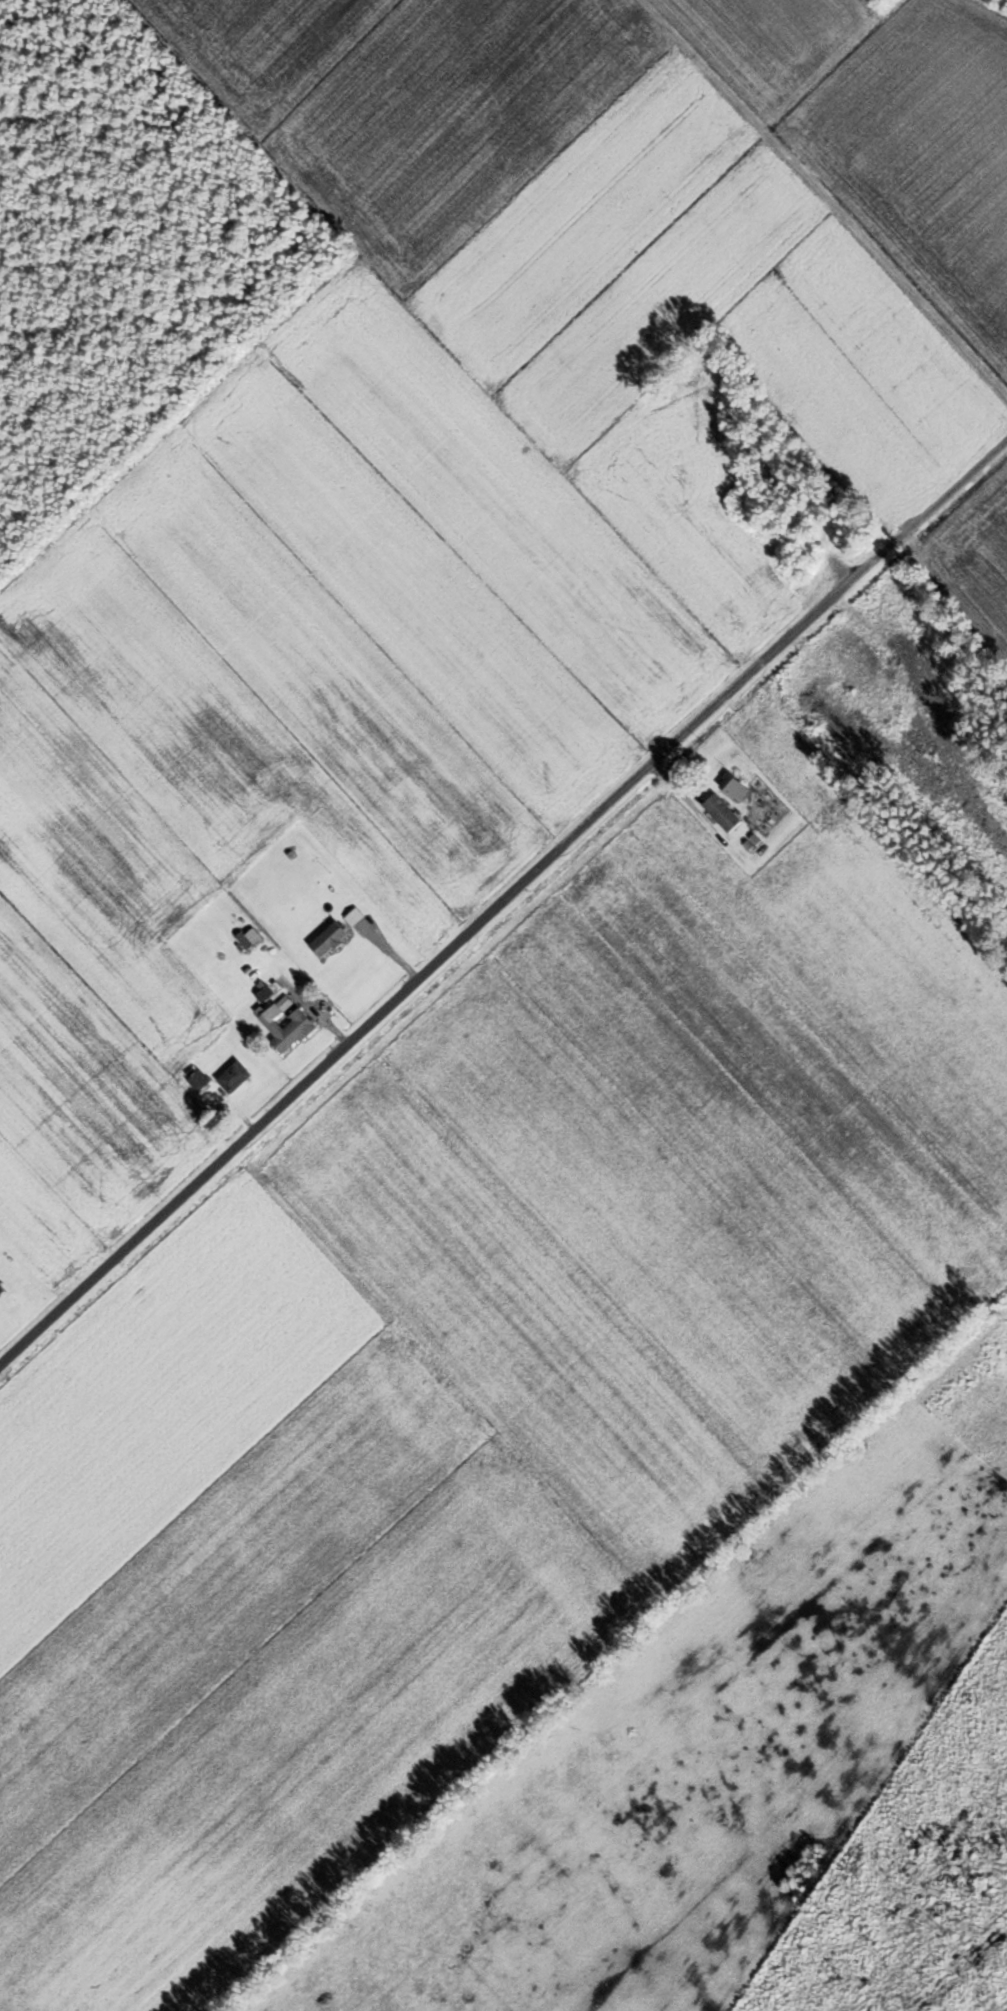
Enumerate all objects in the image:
building: (733, 788)
building: (721, 813)
road: (501, 905)
building: (353, 917)
building: (328, 940)
building: (285, 1027)
building: (233, 1077)
building: (197, 1079)
building: (1, 1289)

